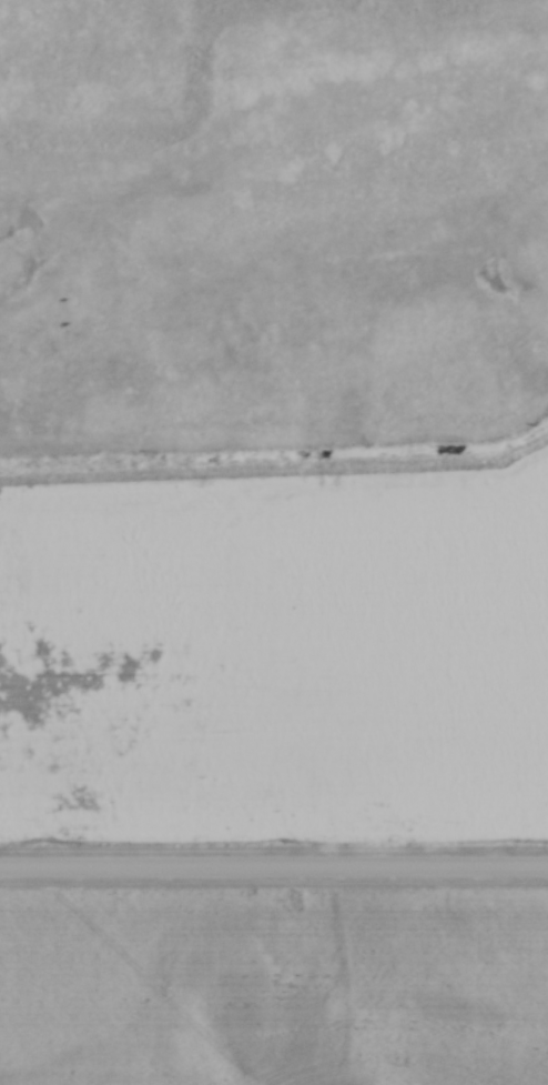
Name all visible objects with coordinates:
road: (274, 872)

